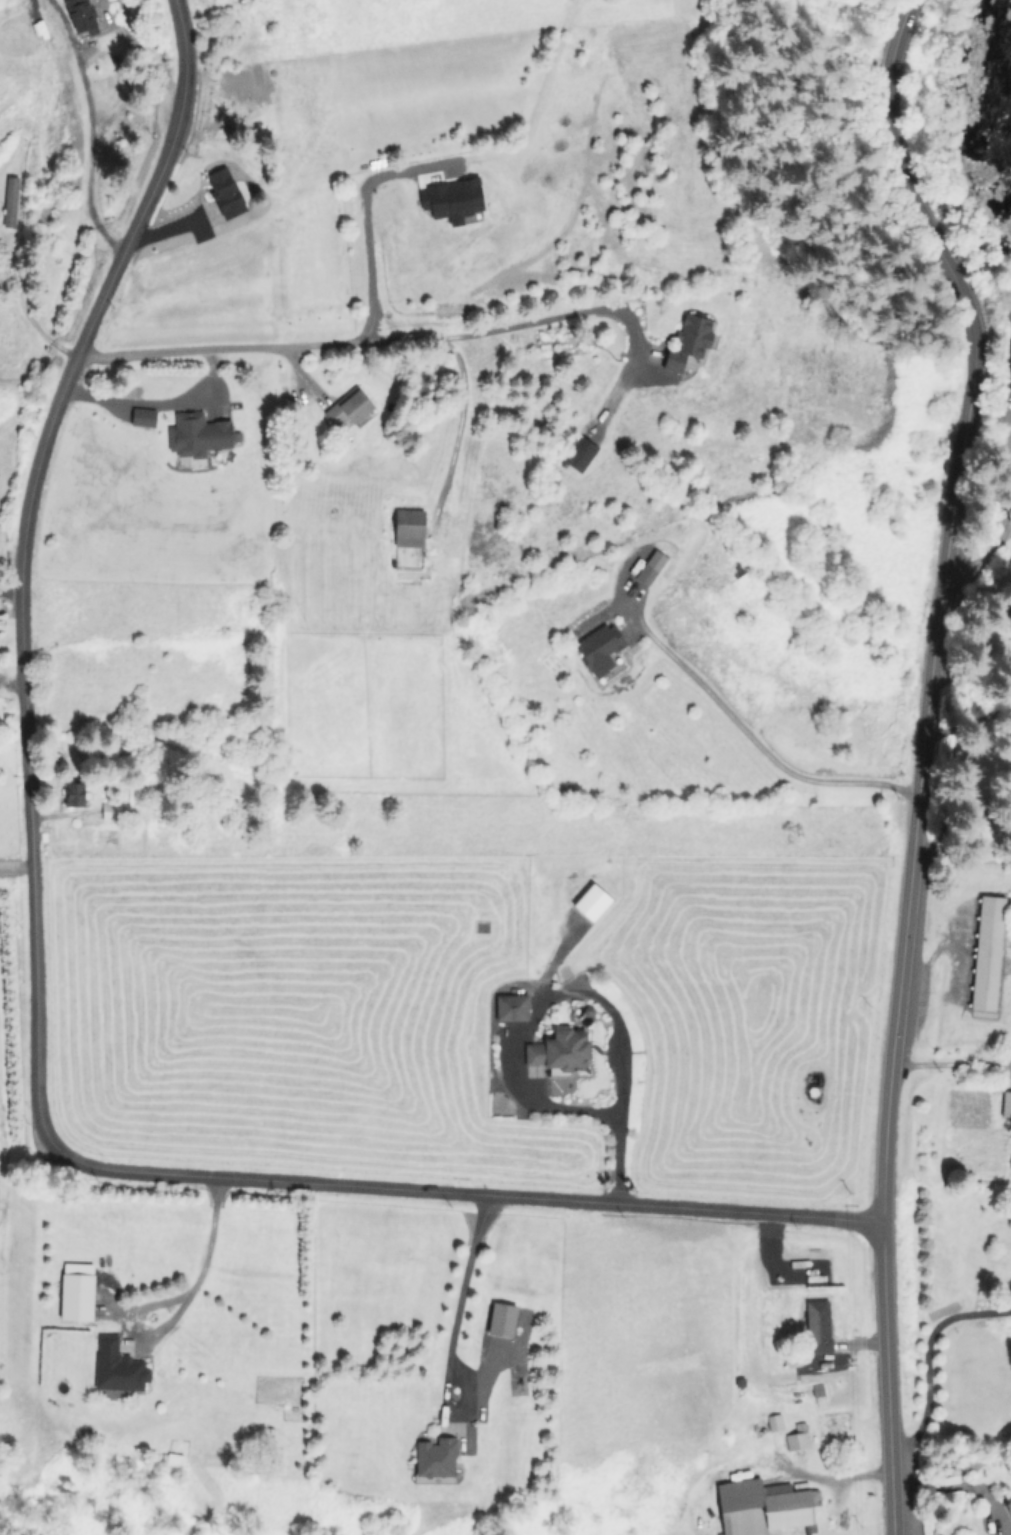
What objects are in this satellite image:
road: (104, 11)
building: (81, 15)
road: (66, 21)
river: (1002, 127)
road: (90, 154)
building: (224, 192)
building: (9, 201)
road: (367, 218)
road: (25, 309)
road: (623, 312)
building: (687, 341)
road: (323, 345)
building: (1010, 352)
road: (153, 403)
building: (347, 407)
building: (142, 417)
road: (460, 417)
building: (196, 434)
building: (578, 453)
building: (408, 527)
road: (989, 550)
road: (21, 555)
building: (650, 567)
road: (10, 590)
building: (598, 648)
road: (969, 721)
road: (760, 746)
road: (921, 755)
building: (73, 793)
building: (110, 810)
road: (16, 863)
building: (591, 902)
building: (986, 952)
building: (511, 1007)
road: (517, 1044)
building: (559, 1051)
road: (949, 1062)
building: (1005, 1104)
road: (460, 1192)
road: (461, 1293)
building: (76, 1296)
road: (171, 1299)
building: (501, 1319)
building: (817, 1325)
road: (926, 1358)
building: (116, 1366)
building: (774, 1422)
building: (796, 1437)
building: (435, 1457)
road: (839, 1478)
road: (962, 1485)
building: (760, 1506)

